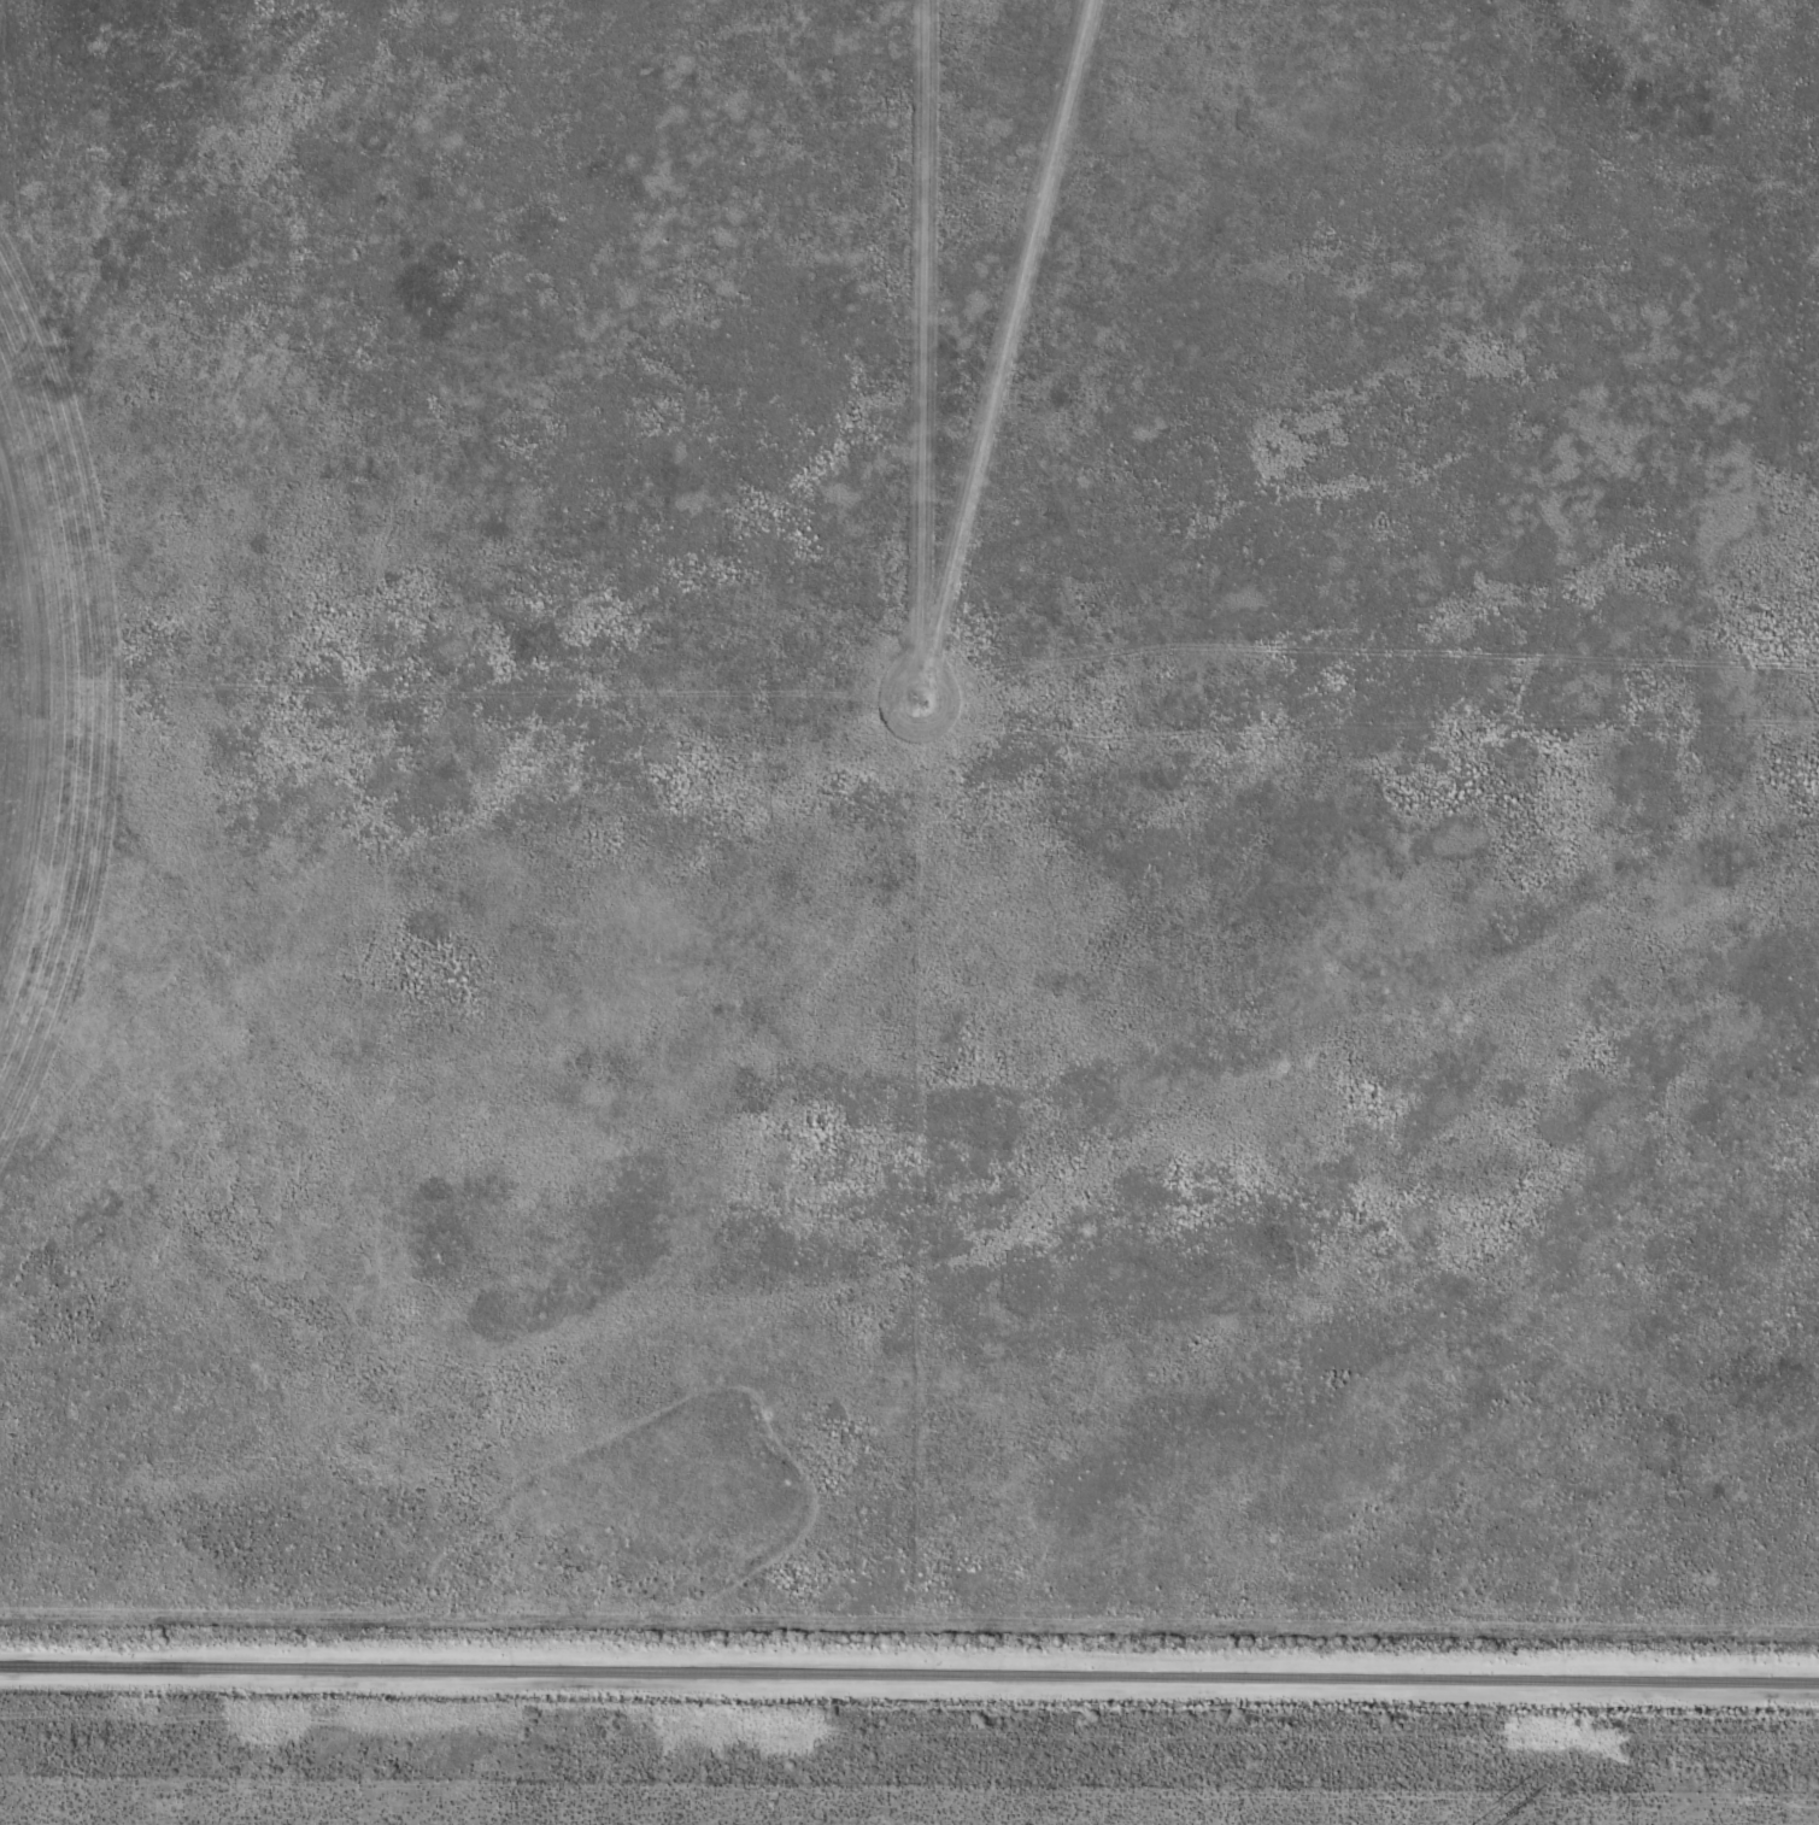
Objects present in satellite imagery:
railway: (909, 1676)

